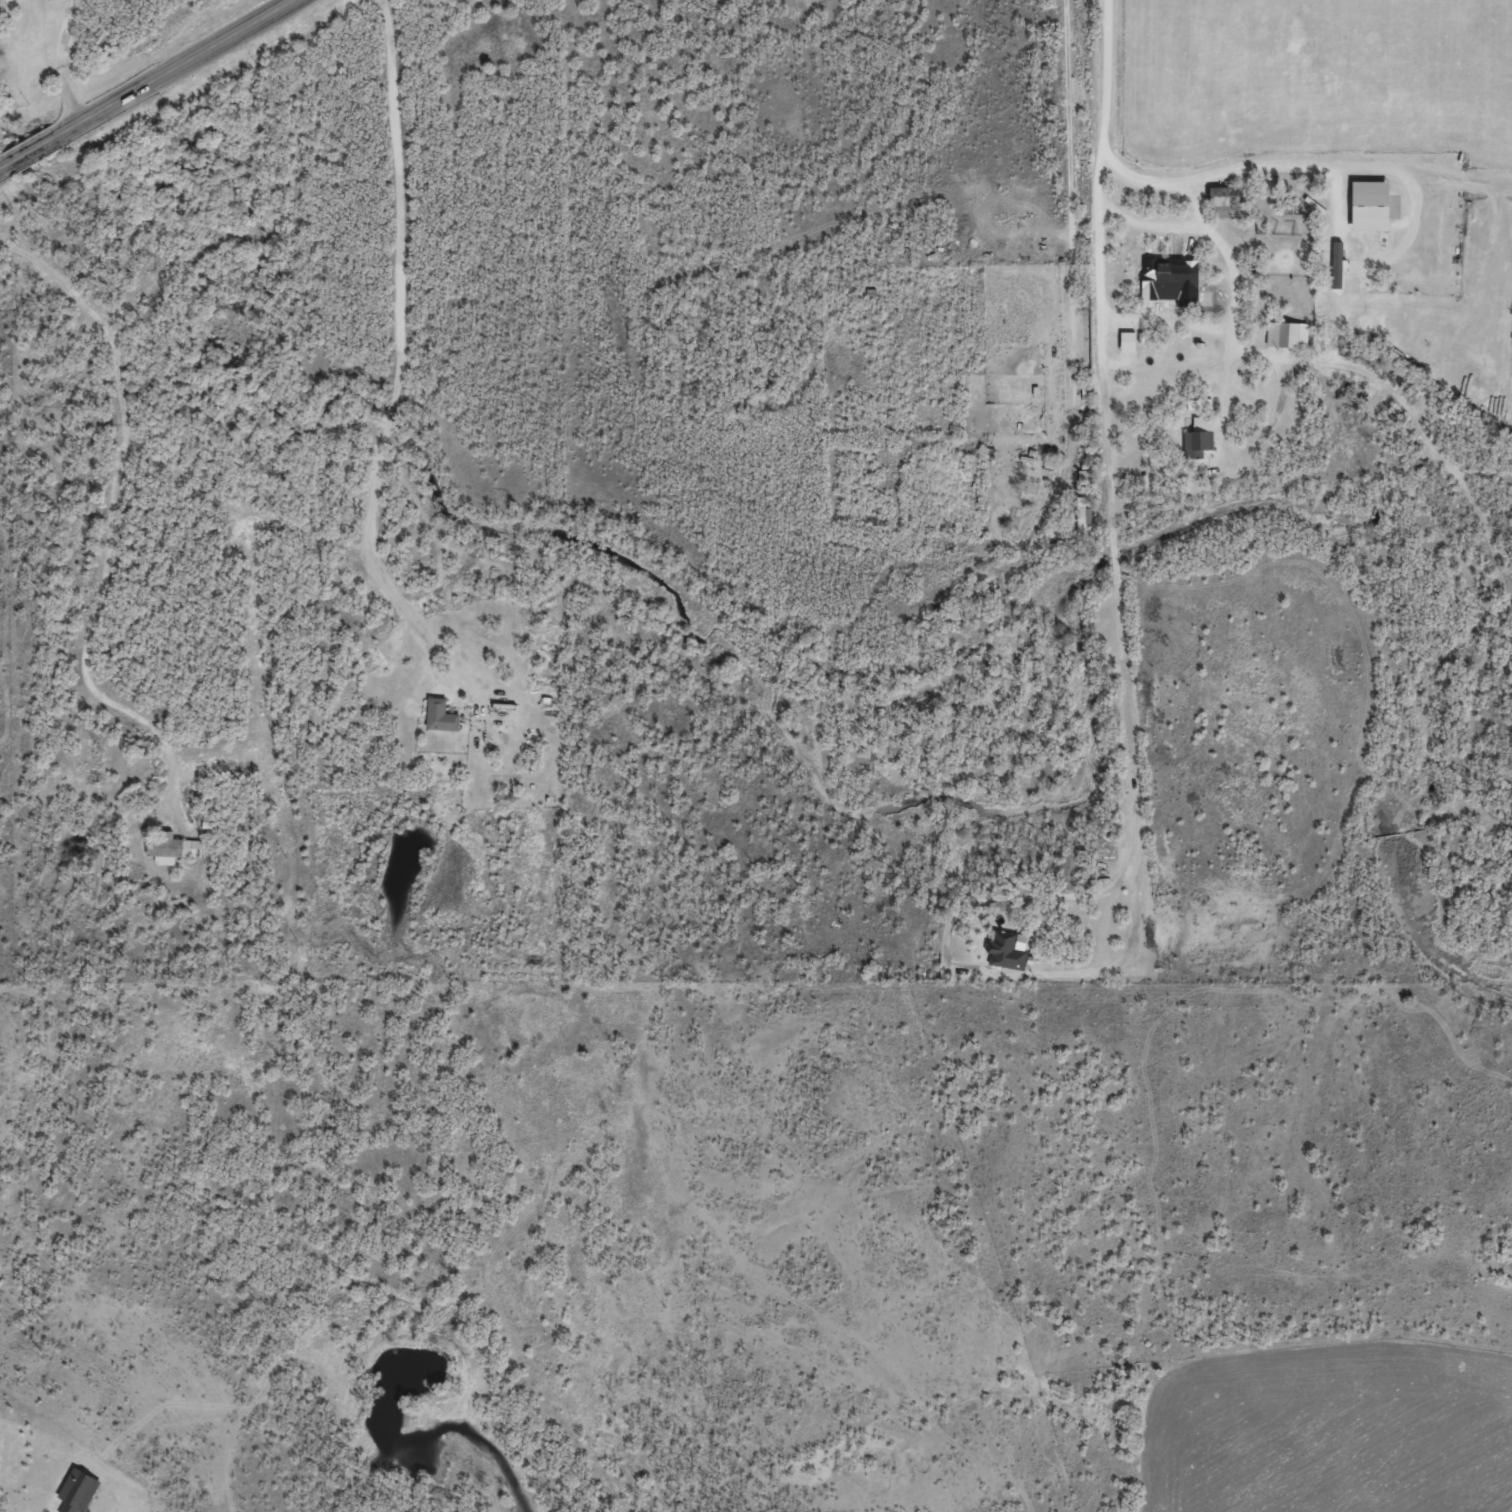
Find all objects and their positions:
road: (147, 83)
road: (398, 198)
building: (1369, 205)
building: (1173, 275)
building: (1286, 334)
building: (1127, 341)
road: (390, 408)
road: (1107, 431)
building: (1197, 443)
road: (380, 578)
building: (440, 715)
building: (172, 848)
building: (1005, 951)
road: (962, 969)
building: (77, 1490)

